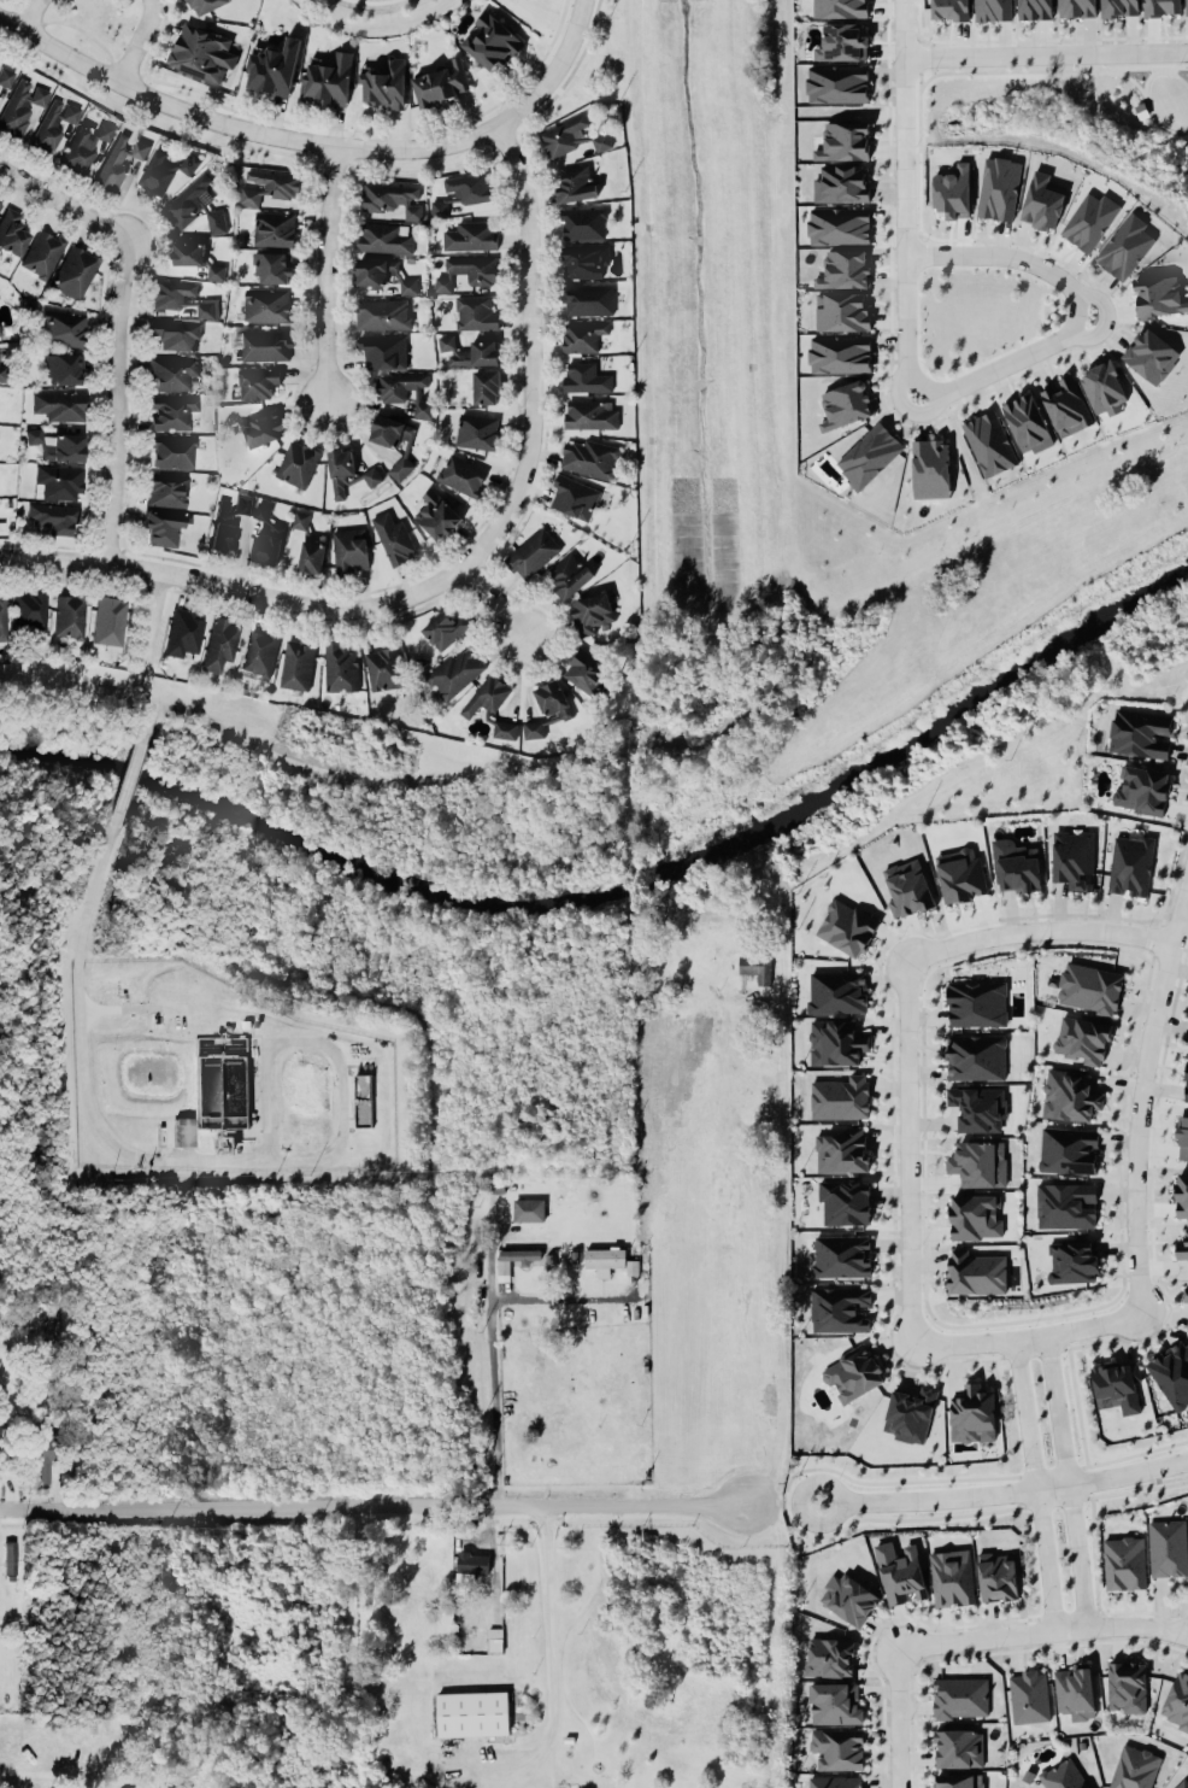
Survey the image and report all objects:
road: (12, 0)
building: (1186, 4)
building: (206, 5)
building: (990, 6)
building: (1033, 6)
building: (1076, 6)
building: (1161, 6)
building: (839, 7)
building: (1119, 7)
building: (948, 8)
road: (35, 12)
road: (84, 30)
building: (490, 36)
road: (142, 39)
building: (842, 41)
building: (201, 49)
road: (1045, 51)
building: (274, 66)
building: (6, 76)
building: (329, 76)
building: (835, 80)
building: (384, 81)
building: (441, 82)
building: (20, 105)
building: (52, 124)
road: (345, 127)
building: (571, 134)
building: (842, 135)
road: (314, 142)
building: (84, 146)
road: (334, 151)
building: (119, 159)
building: (163, 166)
building: (841, 182)
building: (996, 182)
building: (575, 183)
building: (269, 184)
road: (66, 187)
building: (461, 188)
building: (953, 190)
building: (392, 195)
road: (902, 199)
building: (1042, 200)
building: (195, 203)
building: (0, 204)
building: (1089, 219)
building: (583, 222)
building: (837, 223)
building: (274, 227)
building: (11, 231)
building: (470, 234)
building: (386, 236)
building: (1123, 241)
building: (43, 251)
road: (1007, 252)
building: (198, 256)
building: (583, 259)
building: (272, 263)
building: (845, 268)
building: (467, 269)
building: (383, 270)
building: (73, 271)
road: (327, 271)
building: (182, 295)
building: (1159, 295)
building: (588, 297)
building: (267, 304)
building: (839, 306)
building: (476, 310)
building: (383, 313)
building: (1, 328)
building: (61, 328)
building: (175, 333)
building: (582, 334)
building: (266, 344)
building: (383, 348)
building: (469, 350)
building: (840, 352)
building: (1151, 354)
road: (1006, 360)
building: (64, 368)
building: (170, 370)
building: (2, 373)
building: (587, 376)
building: (257, 381)
building: (486, 385)
building: (1102, 385)
road: (537, 386)
building: (402, 388)
road: (120, 389)
building: (846, 403)
building: (60, 404)
building: (1065, 405)
building: (172, 410)
building: (590, 414)
building: (1028, 418)
building: (260, 422)
building: (389, 429)
building: (477, 429)
building: (987, 438)
building: (57, 445)
building: (869, 449)
building: (172, 450)
building: (590, 457)
building: (298, 462)
building: (928, 463)
building: (400, 467)
building: (346, 470)
building: (461, 474)
building: (58, 480)
building: (167, 487)
building: (574, 496)
building: (437, 512)
building: (54, 515)
building: (300, 518)
building: (228, 521)
building: (163, 526)
building: (266, 534)
building: (393, 535)
building: (351, 546)
building: (531, 551)
building: (311, 556)
road: (201, 574)
building: (570, 575)
road: (498, 597)
building: (29, 611)
building: (590, 611)
building: (70, 614)
building: (4, 616)
building: (110, 619)
building: (446, 627)
building: (183, 632)
road: (147, 640)
building: (220, 644)
building: (259, 651)
building: (295, 661)
building: (341, 664)
building: (384, 667)
building: (592, 670)
building: (454, 672)
building: (486, 694)
building: (553, 698)
building: (505, 728)
building: (534, 728)
building: (1140, 731)
road: (131, 770)
building: (1143, 786)
building: (1072, 855)
building: (1131, 862)
building: (1017, 863)
building: (960, 869)
river: (621, 880)
building: (907, 887)
building: (846, 921)
road: (1037, 928)
building: (755, 966)
building: (1087, 984)
building: (837, 991)
building: (976, 1002)
building: (1082, 1038)
building: (835, 1040)
building: (977, 1055)
building: (361, 1084)
building: (1186, 1085)
building: (1068, 1090)
building: (840, 1097)
road: (1142, 1097)
building: (975, 1103)
building: (1182, 1137)
building: (1066, 1145)
building: (842, 1150)
road: (908, 1153)
road: (192, 1160)
building: (978, 1162)
building: (1182, 1194)
building: (845, 1201)
building: (1065, 1204)
building: (528, 1208)
building: (971, 1210)
building: (1182, 1245)
building: (519, 1251)
building: (841, 1254)
building: (602, 1256)
road: (704, 1261)
building: (1072, 1261)
building: (631, 1266)
building: (976, 1271)
building: (1186, 1292)
building: (840, 1307)
building: (1187, 1325)
road: (492, 1329)
road: (1027, 1338)
building: (1172, 1371)
building: (853, 1372)
building: (1117, 1383)
building: (971, 1409)
building: (910, 1412)
building: (43, 1450)
road: (1068, 1481)
road: (1036, 1485)
road: (1005, 1491)
road: (380, 1501)
building: (1168, 1546)
building: (10, 1557)
building: (472, 1561)
building: (1124, 1561)
building: (900, 1571)
building: (996, 1575)
building: (952, 1576)
building: (848, 1598)
road: (1187, 1630)
road: (1042, 1631)
road: (549, 1646)
building: (828, 1652)
building: (1128, 1684)
building: (1075, 1692)
building: (959, 1695)
building: (1029, 1695)
building: (833, 1700)
building: (1177, 1700)
building: (472, 1712)
road: (898, 1717)
building: (839, 1746)
building: (959, 1747)
building: (1134, 1768)
road: (547, 1771)
building: (1063, 1775)
road: (53, 1776)
building: (958, 1780)
building: (834, 1781)
building: (1182, 1783)
building: (171, 1786)

